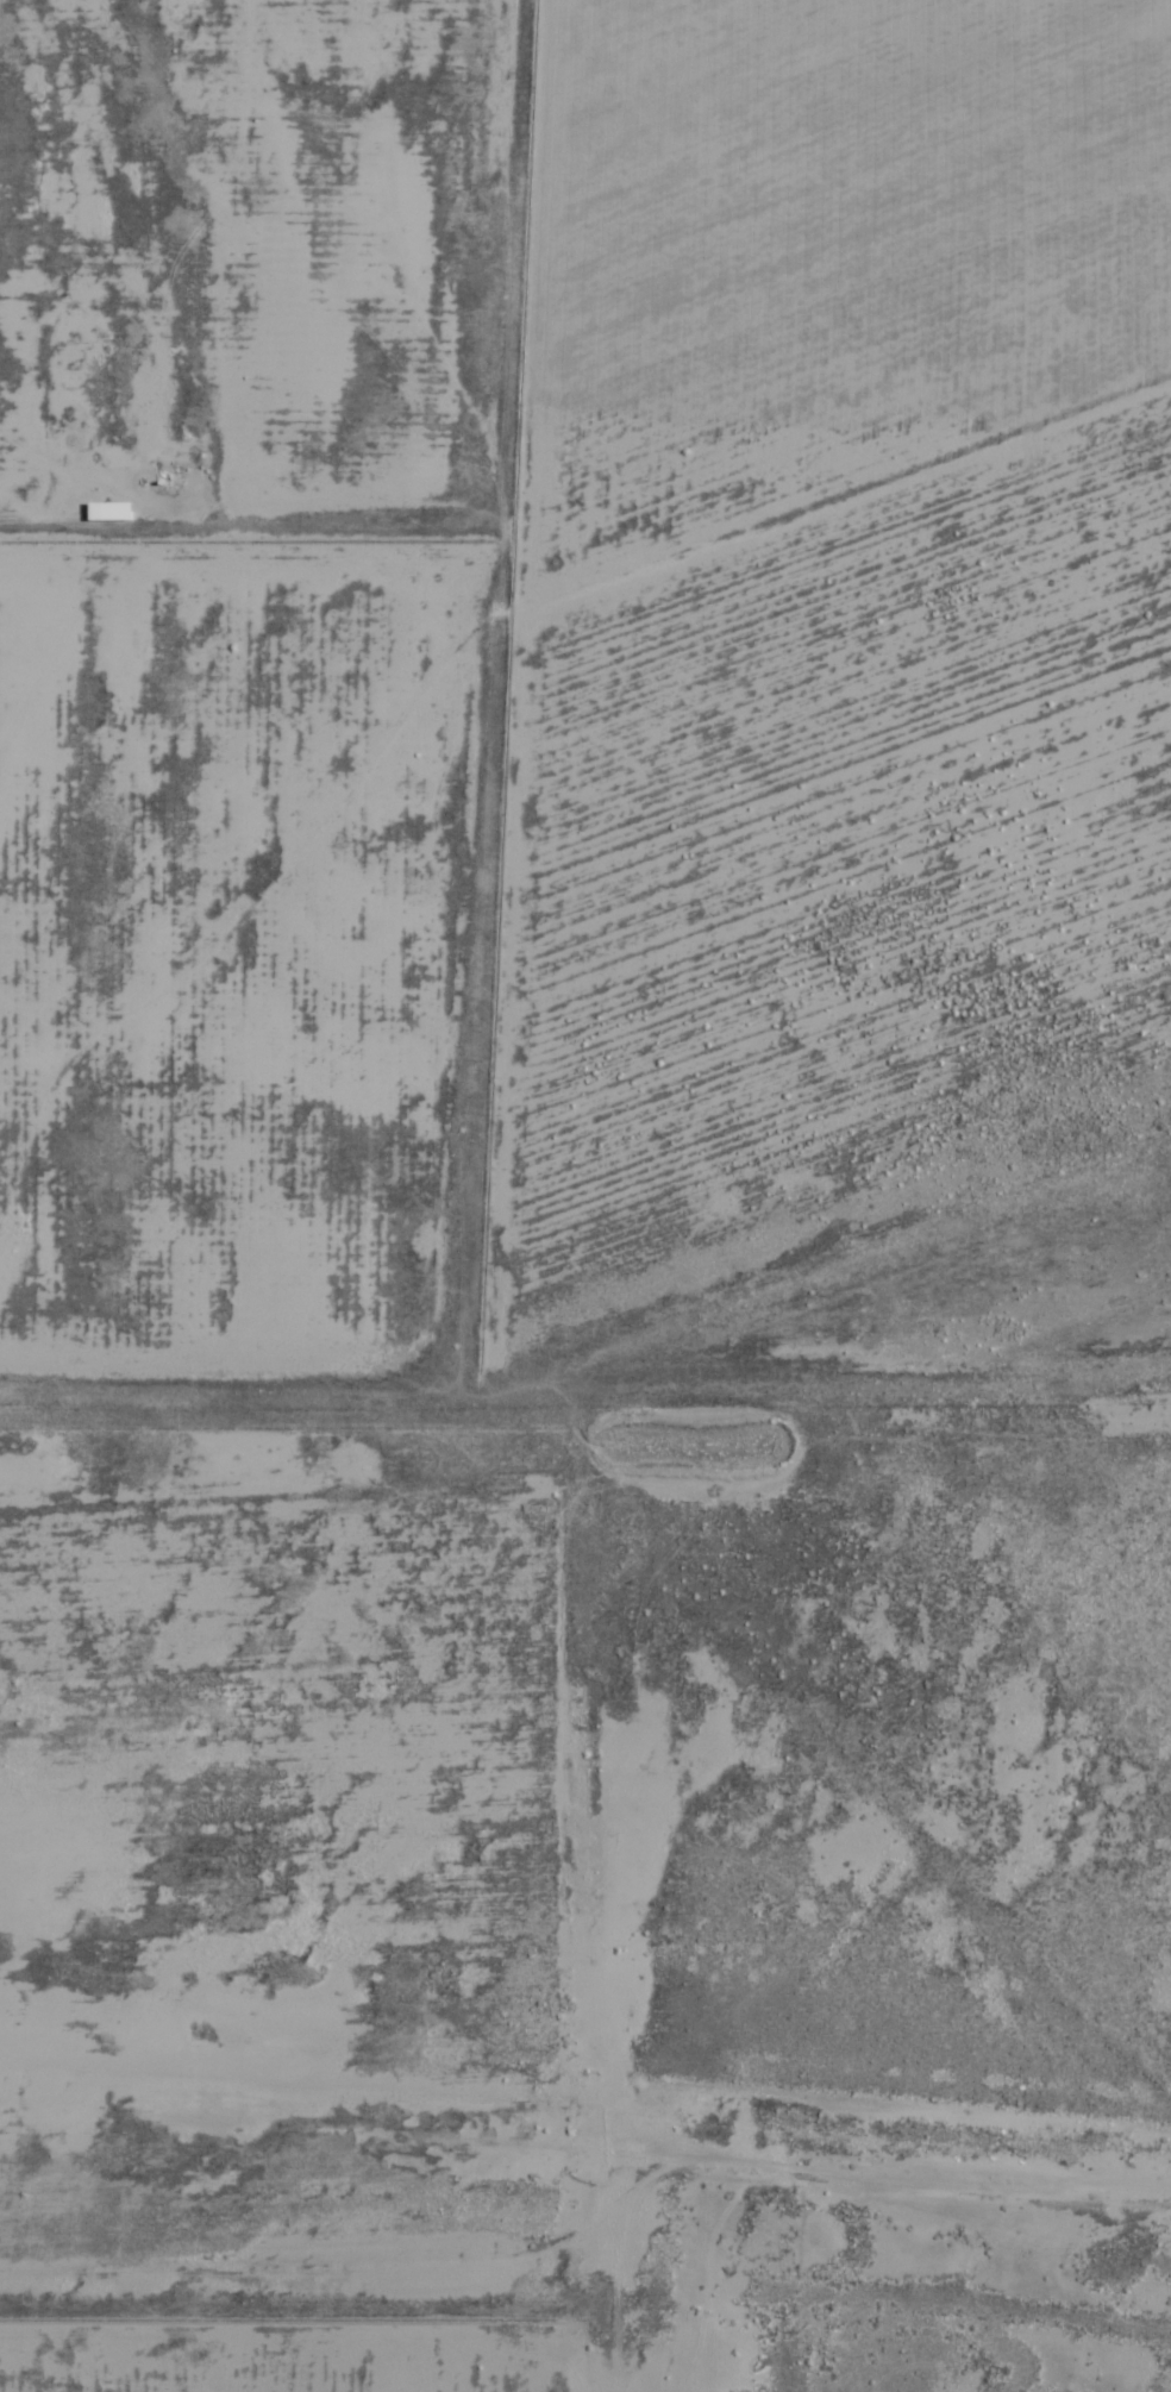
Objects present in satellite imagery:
road: (956, 2234)

